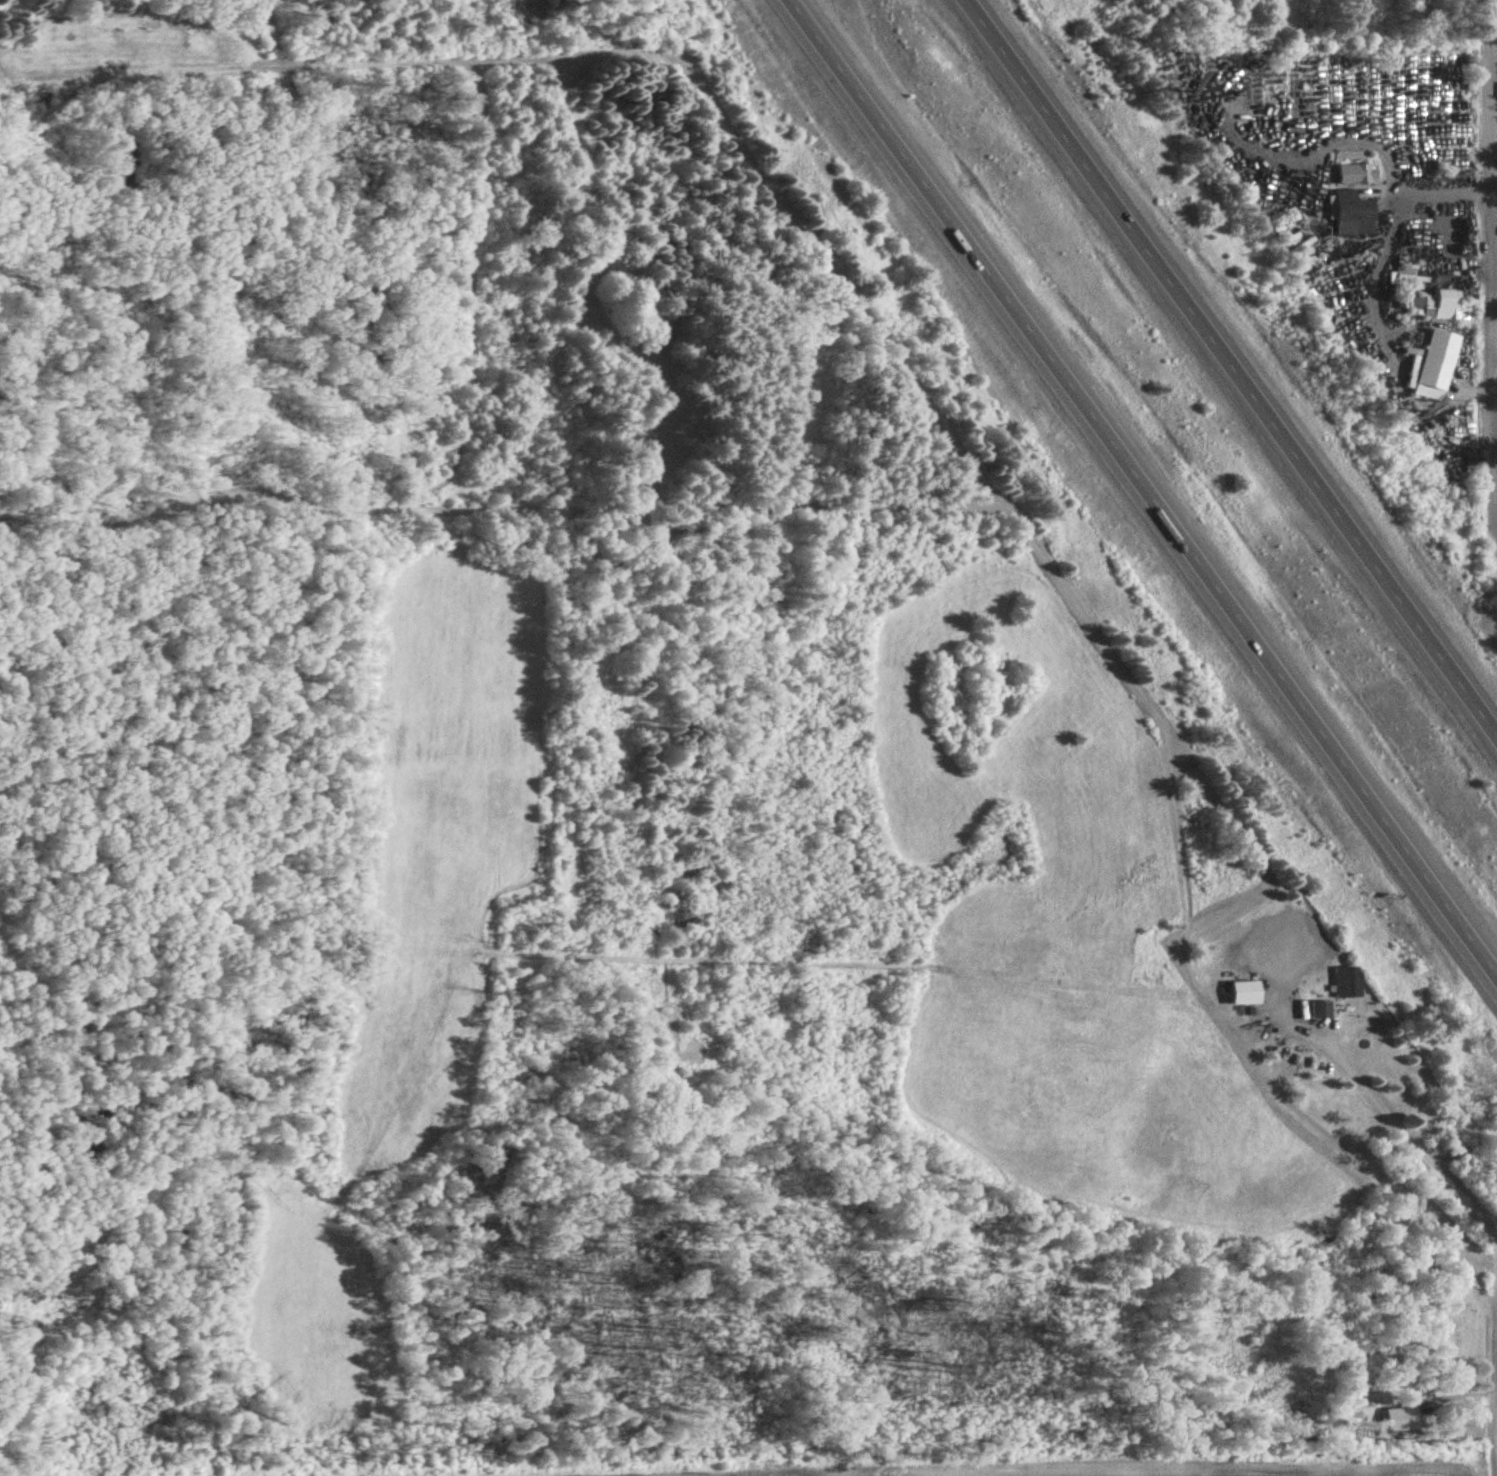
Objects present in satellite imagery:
building: (1357, 172)
building: (1354, 209)
road: (1491, 237)
building: (1433, 303)
building: (665, 338)
building: (1391, 356)
road: (1230, 366)
building: (1451, 371)
building: (1447, 437)
building: (1452, 461)
road: (1146, 484)
building: (1348, 981)
building: (1247, 991)
building: (1322, 1008)
building: (1402, 1417)

